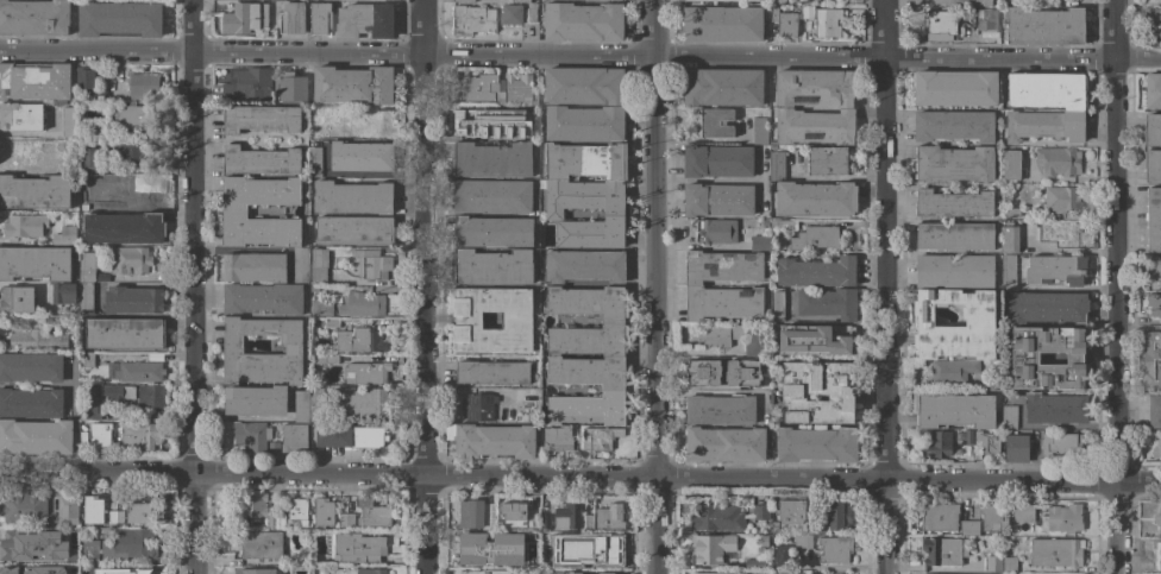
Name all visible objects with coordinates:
building: (619, 0)
building: (709, 0)
building: (954, 1)
building: (777, 2)
building: (512, 14)
building: (531, 14)
building: (33, 17)
building: (319, 17)
building: (119, 18)
building: (291, 18)
building: (241, 19)
building: (472, 19)
building: (991, 19)
building: (822, 20)
building: (364, 21)
building: (582, 21)
building: (784, 21)
building: (722, 24)
building: (941, 25)
building: (1042, 25)
building: (1155, 25)
road: (192, 27)
road: (96, 52)
road: (789, 53)
road: (306, 55)
building: (84, 77)
building: (33, 81)
building: (144, 84)
building: (247, 84)
building: (352, 84)
building: (582, 86)
building: (291, 87)
building: (721, 87)
building: (482, 88)
building: (955, 88)
building: (520, 89)
building: (1151, 90)
building: (121, 94)
building: (95, 95)
building: (783, 106)
building: (1044, 106)
building: (321, 114)
building: (20, 116)
building: (125, 116)
building: (259, 118)
building: (365, 120)
building: (68, 121)
building: (583, 122)
building: (713, 122)
building: (492, 124)
building: (953, 126)
building: (94, 130)
building: (758, 130)
building: (1146, 147)
building: (21, 153)
building: (64, 153)
building: (130, 153)
building: (359, 156)
building: (491, 159)
building: (89, 160)
building: (259, 160)
building: (716, 160)
building: (826, 160)
building: (313, 162)
building: (1058, 162)
building: (953, 163)
building: (1010, 165)
building: (34, 193)
building: (131, 193)
building: (585, 193)
building: (87, 194)
building: (808, 194)
building: (491, 196)
building: (352, 197)
building: (1059, 198)
building: (716, 200)
building: (952, 203)
building: (233, 212)
building: (1153, 219)
building: (24, 226)
building: (123, 228)
building: (353, 231)
building: (715, 231)
building: (491, 232)
building: (1059, 233)
building: (67, 234)
building: (768, 234)
building: (954, 236)
building: (815, 238)
building: (1008, 238)
building: (128, 260)
building: (34, 264)
road: (194, 264)
building: (371, 264)
building: (90, 266)
building: (492, 266)
building: (584, 266)
building: (253, 267)
building: (1155, 269)
building: (1055, 270)
building: (816, 271)
building: (953, 271)
building: (1008, 272)
building: (300, 275)
road: (420, 286)
road: (654, 286)
building: (694, 286)
road: (884, 286)
road: (1116, 286)
building: (63, 292)
building: (83, 297)
building: (263, 298)
building: (15, 299)
building: (132, 301)
building: (827, 303)
building: (1154, 303)
building: (360, 304)
building: (776, 304)
building: (1046, 307)
building: (319, 308)
building: (52, 321)
building: (516, 321)
building: (979, 322)
building: (124, 333)
building: (735, 338)
building: (36, 340)
building: (359, 340)
building: (812, 340)
building: (232, 349)
building: (613, 355)
building: (1024, 358)
building: (86, 359)
building: (328, 359)
building: (1150, 360)
building: (31, 367)
building: (952, 371)
building: (138, 372)
building: (491, 372)
building: (701, 372)
building: (366, 373)
building: (741, 373)
building: (117, 392)
building: (817, 392)
building: (150, 396)
building: (255, 400)
building: (31, 402)
building: (89, 403)
building: (360, 403)
building: (315, 404)
building: (301, 405)
building: (478, 406)
building: (1054, 408)
building: (720, 409)
building: (953, 410)
building: (1154, 411)
building: (1009, 417)
building: (506, 420)
building: (99, 435)
building: (140, 435)
building: (251, 435)
building: (349, 436)
building: (968, 436)
building: (36, 437)
building: (82, 437)
building: (293, 437)
building: (598, 437)
building: (557, 440)
building: (494, 441)
building: (724, 443)
building: (936, 443)
building: (1060, 443)
building: (815, 444)
building: (985, 444)
building: (1017, 446)
building: (1156, 446)
building: (272, 448)
road: (579, 478)
building: (67, 509)
building: (92, 509)
building: (252, 509)
building: (25, 510)
building: (297, 511)
building: (760, 511)
building: (790, 511)
building: (322, 512)
building: (371, 512)
building: (138, 513)
building: (1013, 513)
building: (476, 515)
building: (1157, 516)
building: (115, 517)
building: (517, 517)
building: (570, 517)
building: (611, 517)
building: (716, 517)
building: (937, 517)
building: (990, 517)
building: (831, 518)
building: (1063, 519)
building: (281, 521)
building: (343, 521)
building: (350, 521)
building: (545, 522)
road: (194, 524)
building: (774, 528)
building: (968, 528)
building: (67, 534)
building: (764, 541)
building: (130, 544)
building: (259, 544)
building: (24, 547)
building: (475, 547)
building: (826, 547)
building: (357, 548)
building: (594, 548)
building: (713, 548)
building: (88, 551)
building: (940, 551)
building: (1055, 553)
building: (528, 555)
building: (1156, 555)
building: (782, 556)
building: (547, 557)
building: (754, 564)
building: (992, 564)
building: (1009, 564)
building: (18, 570)
building: (88, 570)
building: (127, 570)
building: (366, 570)
building: (257, 572)
building: (487, 572)
building: (600, 572)
building: (709, 573)
building: (787, 573)

